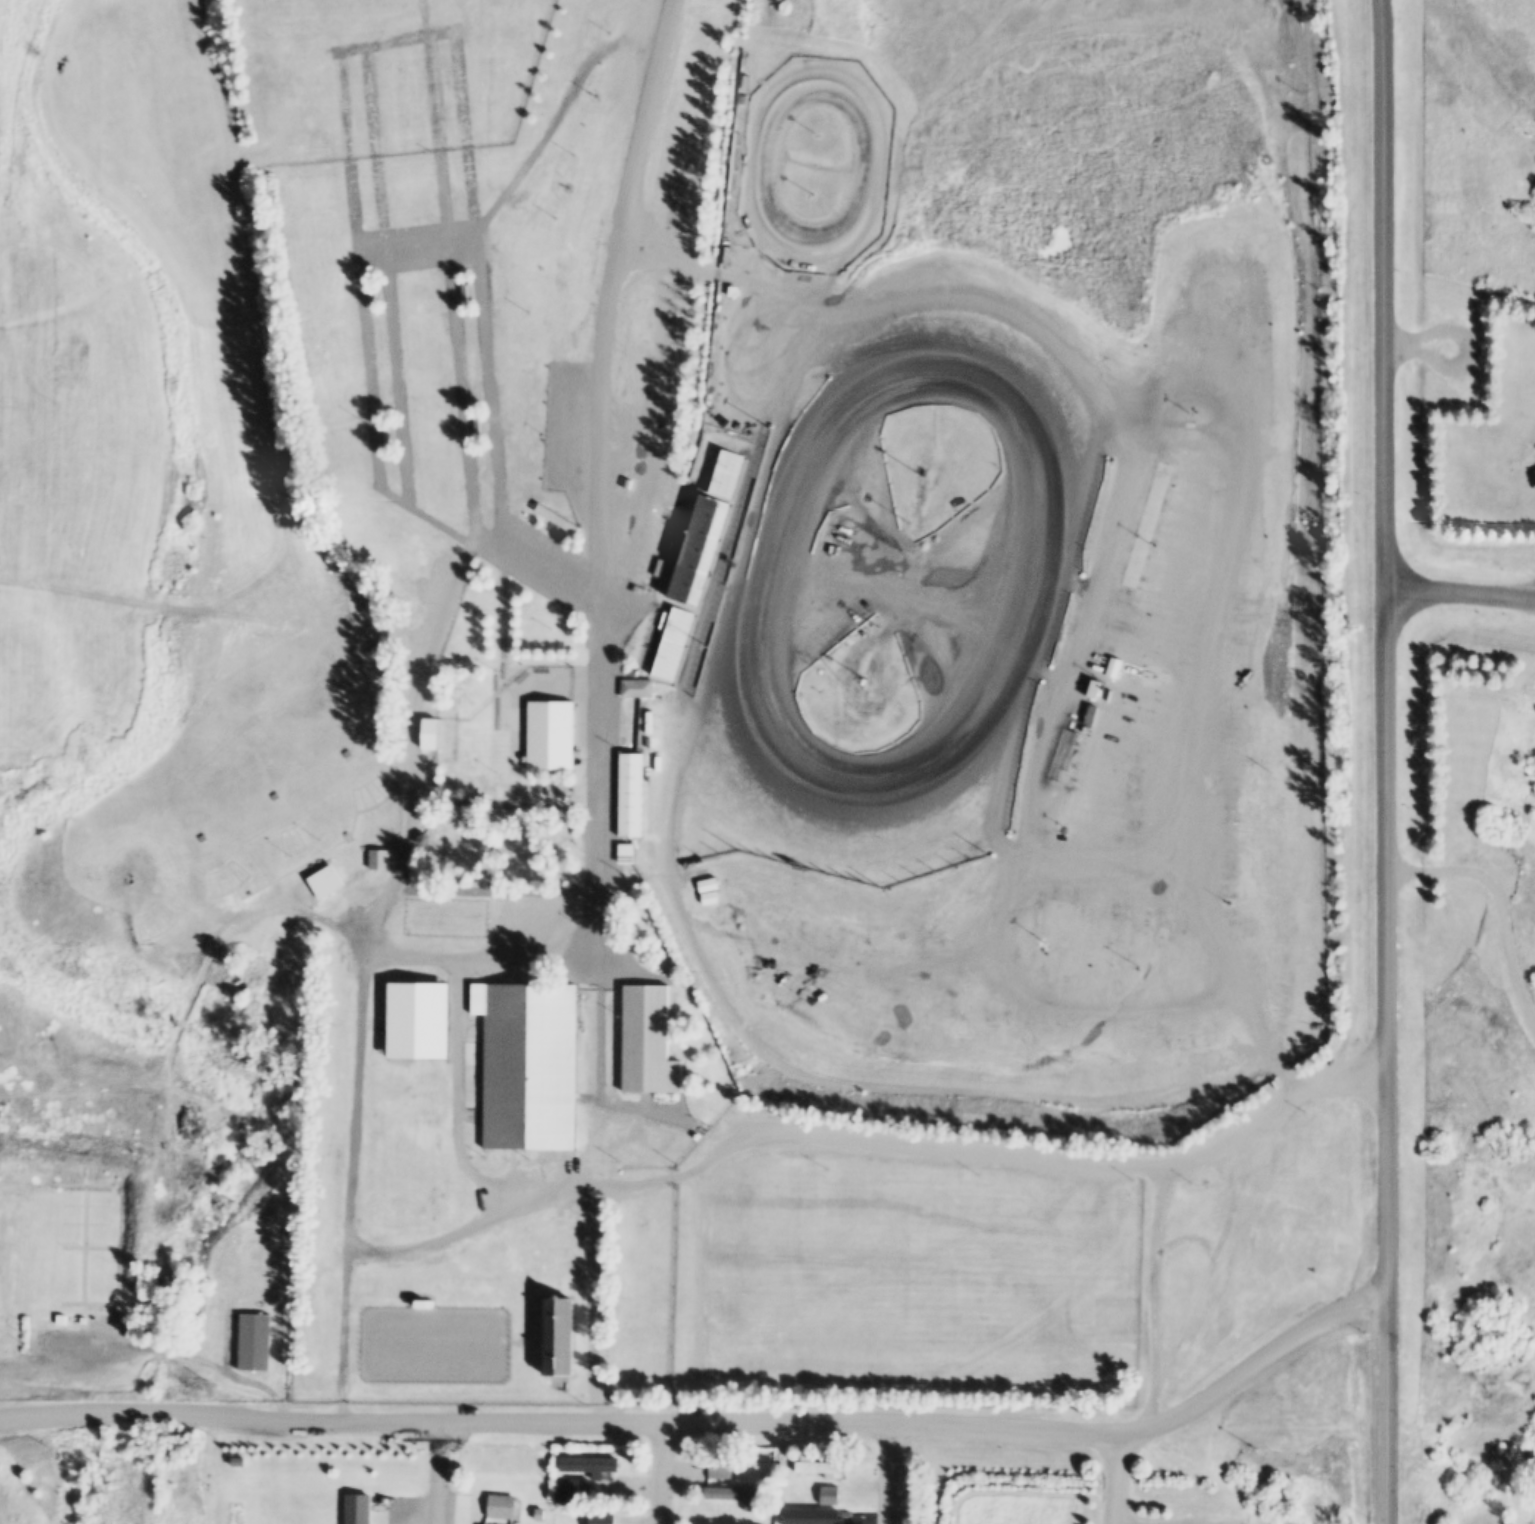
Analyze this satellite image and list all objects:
raceway: (854, 165)
road: (717, 274)
road: (614, 292)
building: (467, 293)
building: (375, 294)
road: (1466, 332)
building: (479, 427)
building: (655, 429)
building: (389, 435)
building: (555, 520)
building: (705, 530)
raceway: (1009, 571)
road: (1461, 589)
road: (210, 611)
building: (671, 643)
building: (1091, 688)
building: (636, 689)
road: (416, 713)
building: (430, 733)
building: (551, 735)
building: (344, 754)
road: (1388, 761)
road: (597, 789)
building: (630, 795)
building: (273, 796)
park: (229, 824)
building: (201, 838)
building: (422, 839)
building: (625, 853)
building: (378, 859)
parking lot: (1494, 866)
building: (326, 881)
building: (129, 882)
road: (1501, 901)
building: (648, 1041)
building: (527, 1064)
road: (953, 1091)
road: (598, 1094)
road: (598, 1145)
road: (339, 1147)
road: (1052, 1156)
building: (408, 1294)
road: (1151, 1295)
road: (700, 1296)
road: (595, 1308)
building: (67, 1319)
road: (344, 1334)
building: (559, 1337)
building: (254, 1342)
road: (154, 1354)
road: (711, 1426)
building: (588, 1465)
building: (819, 1466)
building: (718, 1468)
building: (1531, 1469)
road: (440, 1474)
building: (768, 1474)
road: (658, 1475)
road: (887, 1477)
road: (1114, 1480)
building: (779, 1481)
building: (578, 1488)
building: (733, 1492)
building: (828, 1495)
building: (561, 1497)
building: (1529, 1501)
building: (1518, 1503)
building: (500, 1506)
building: (357, 1508)
building: (557, 1508)
building: (539, 1514)
building: (825, 1515)
building: (602, 1518)
building: (515, 1523)

